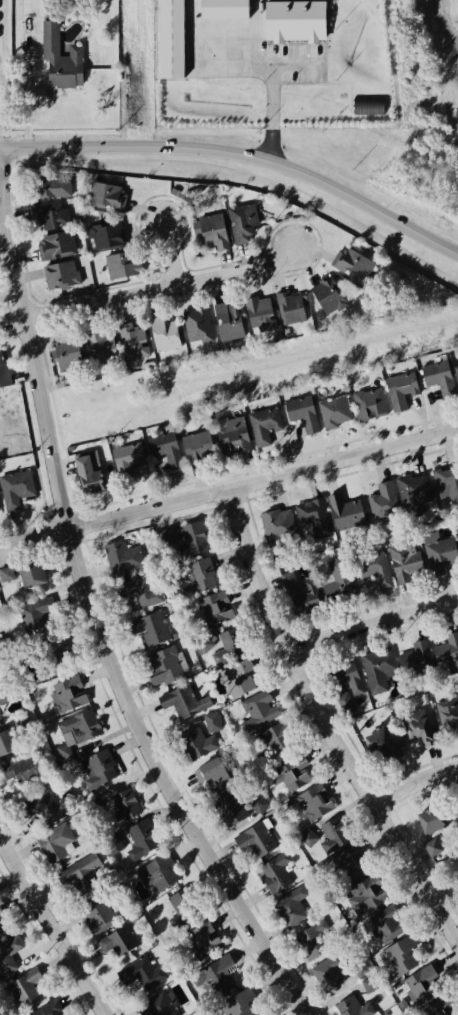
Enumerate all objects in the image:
building: (223, 9)
building: (293, 19)
road: (258, 24)
road: (192, 37)
building: (170, 38)
road: (236, 41)
building: (63, 52)
road: (439, 58)
parking lot: (316, 63)
road: (271, 97)
building: (368, 104)
road: (240, 153)
building: (51, 186)
building: (106, 196)
building: (54, 215)
building: (241, 221)
building: (213, 230)
building: (104, 233)
building: (58, 244)
road: (176, 255)
building: (350, 262)
building: (122, 266)
building: (60, 274)
road: (147, 292)
building: (327, 294)
building: (289, 305)
building: (259, 314)
building: (228, 320)
building: (196, 325)
building: (164, 334)
building: (132, 342)
building: (101, 346)
building: (67, 356)
road: (252, 363)
building: (456, 371)
building: (3, 372)
building: (438, 375)
building: (401, 385)
building: (370, 403)
building: (335, 410)
building: (302, 412)
building: (263, 424)
building: (231, 435)
building: (198, 443)
building: (166, 450)
building: (126, 456)
building: (85, 471)
building: (448, 482)
road: (229, 487)
building: (15, 488)
building: (415, 491)
building: (382, 499)
building: (346, 511)
building: (314, 515)
building: (277, 523)
building: (457, 533)
building: (187, 537)
building: (439, 555)
building: (121, 556)
building: (406, 562)
building: (374, 566)
building: (5, 573)
building: (30, 574)
building: (199, 576)
building: (337, 580)
building: (139, 590)
building: (299, 592)
building: (214, 608)
building: (39, 617)
road: (375, 622)
road: (102, 627)
building: (150, 627)
building: (230, 643)
building: (52, 655)
building: (446, 655)
building: (416, 660)
building: (166, 665)
building: (378, 669)
building: (1, 672)
building: (236, 678)
building: (346, 687)
building: (4, 693)
building: (68, 693)
building: (182, 700)
building: (258, 709)
building: (448, 710)
building: (0, 713)
road: (329, 716)
building: (212, 722)
building: (78, 727)
building: (418, 728)
building: (14, 732)
building: (276, 739)
building: (198, 743)
building: (381, 746)
building: (99, 767)
building: (22, 769)
building: (292, 769)
building: (210, 773)
road: (418, 782)
building: (313, 801)
building: (257, 804)
building: (45, 806)
building: (117, 807)
building: (227, 808)
building: (454, 817)
building: (429, 818)
building: (334, 833)
building: (308, 837)
building: (141, 838)
building: (255, 839)
building: (111, 841)
building: (54, 842)
building: (431, 846)
building: (347, 862)
building: (275, 871)
building: (81, 872)
building: (158, 872)
building: (366, 894)
building: (183, 905)
building: (290, 907)
building: (116, 913)
building: (96, 915)
building: (134, 917)
road: (54, 919)
building: (3, 922)
building: (386, 923)
building: (118, 939)
building: (202, 939)
building: (311, 940)
building: (8, 951)
building: (399, 955)
building: (359, 966)
building: (143, 970)
building: (327, 971)
building: (211, 977)
building: (369, 984)
building: (421, 984)
building: (25, 989)
building: (237, 1002)
building: (156, 1004)
building: (351, 1006)
building: (440, 1007)
building: (48, 1008)

